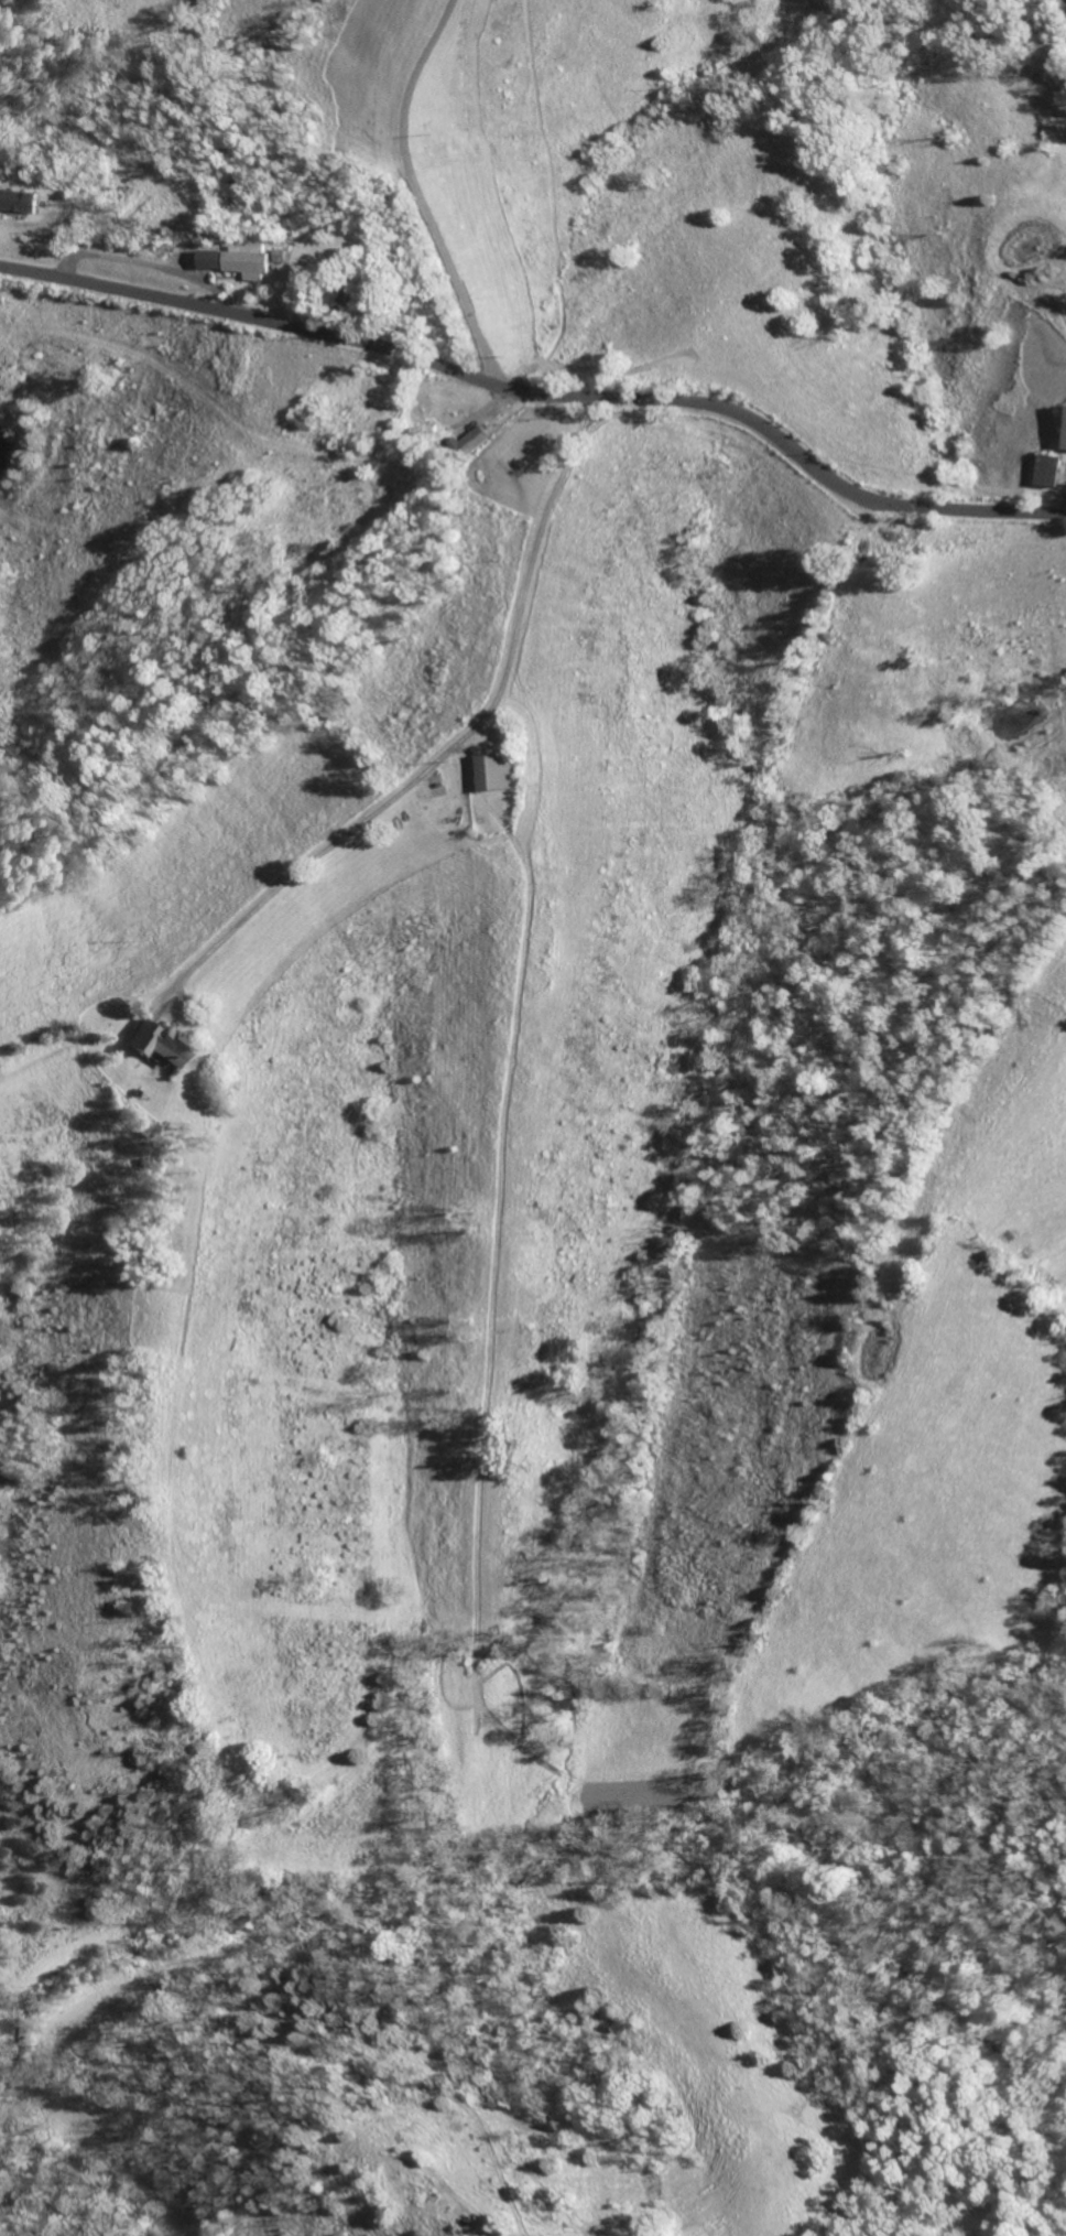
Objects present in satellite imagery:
road: (417, 194)
building: (17, 201)
building: (210, 259)
building: (247, 261)
road: (539, 393)
building: (471, 440)
building: (1052, 471)
road: (461, 738)
building: (499, 773)
building: (154, 1043)

